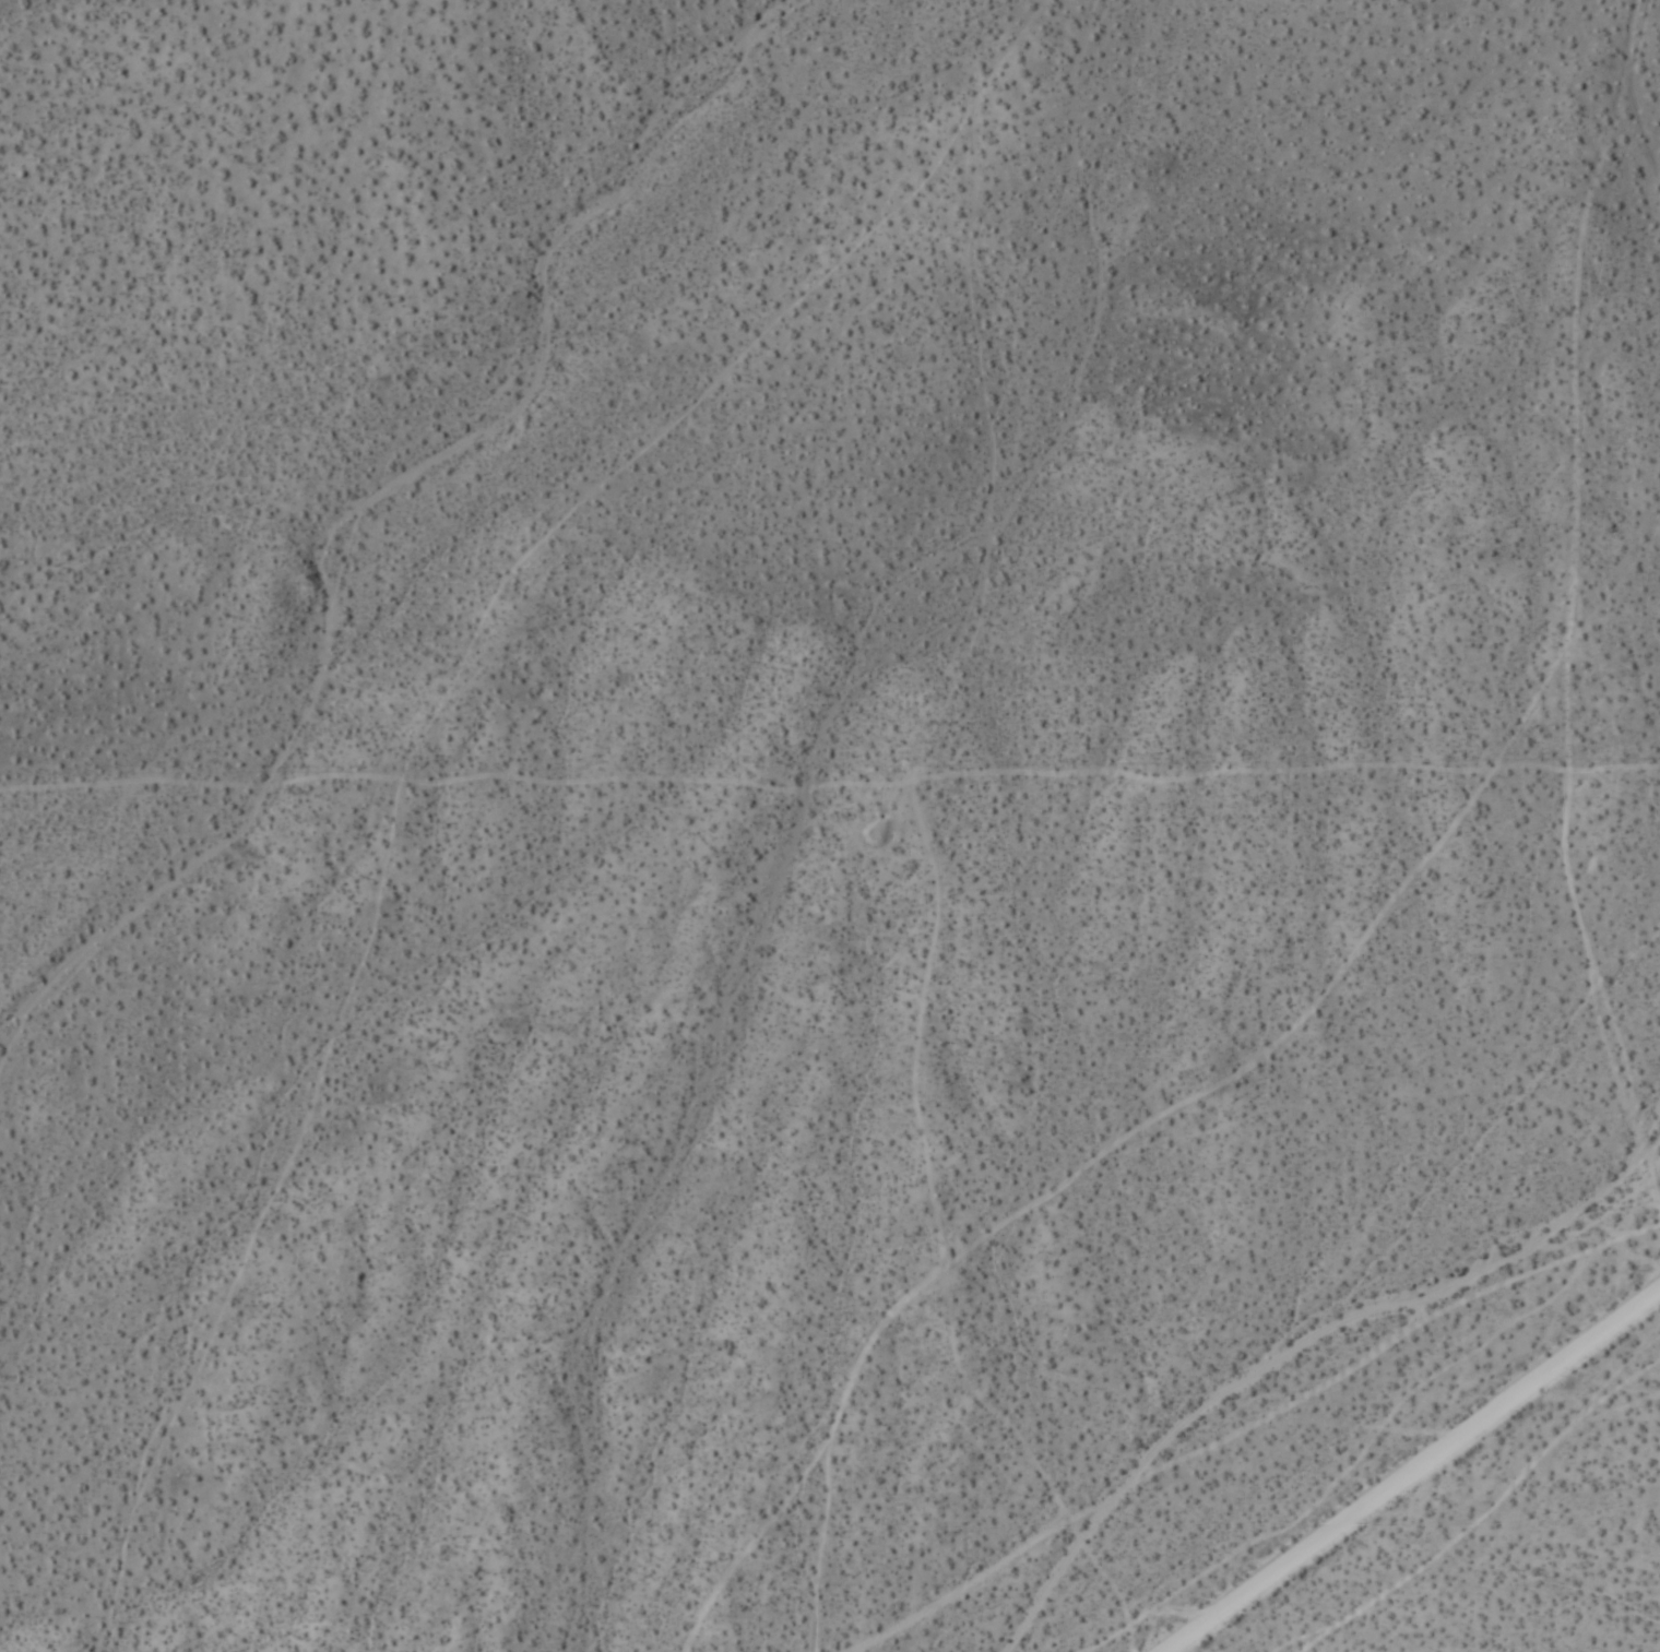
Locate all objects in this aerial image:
road: (1413, 1472)

